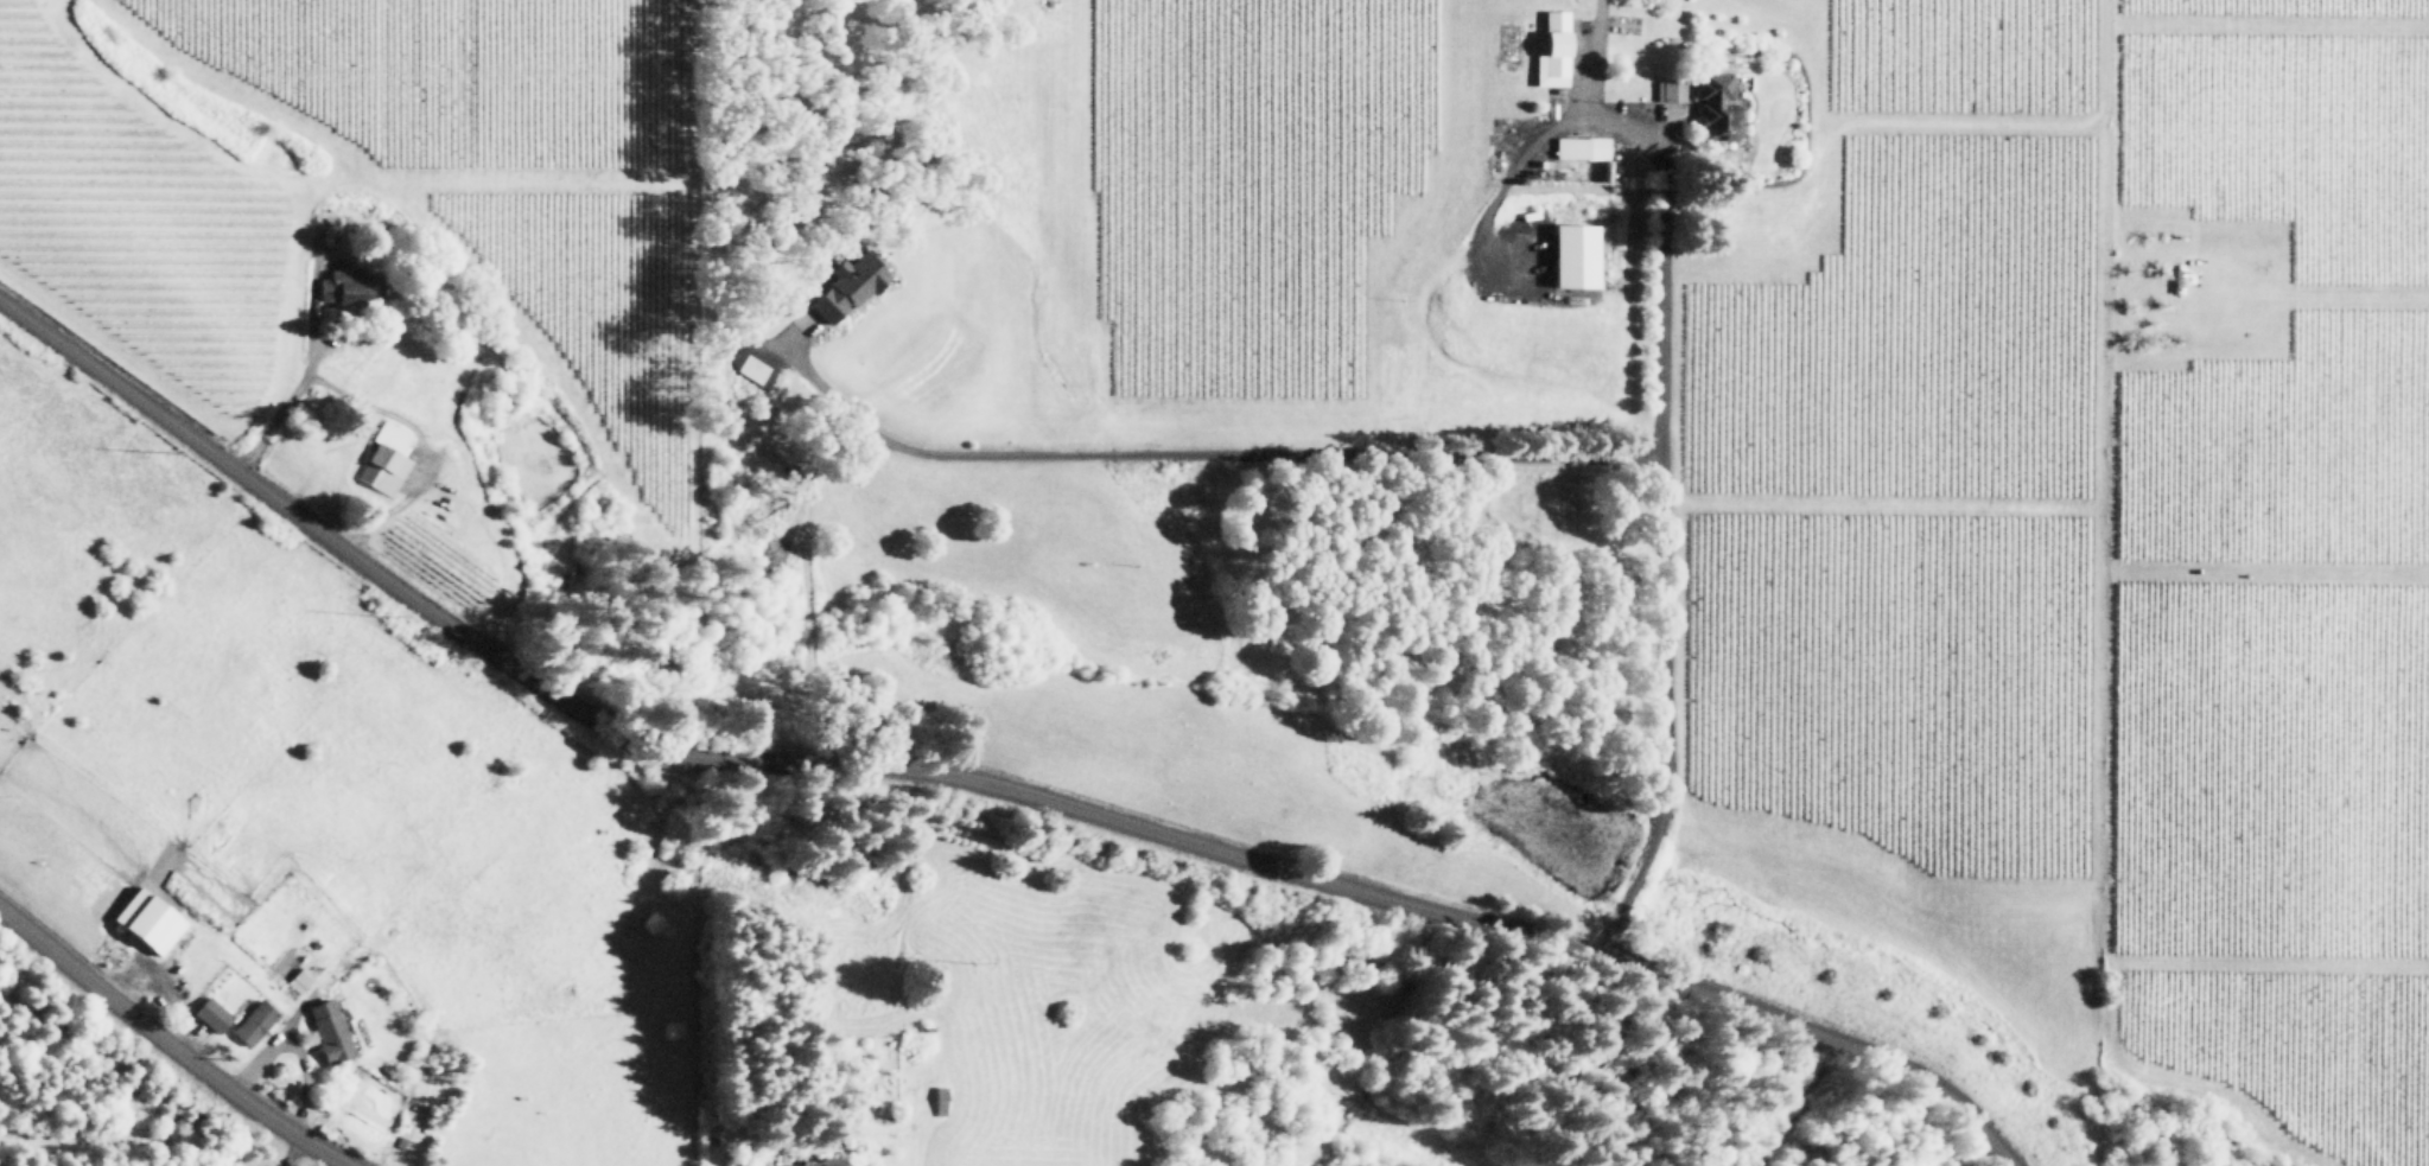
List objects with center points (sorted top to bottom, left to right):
building: (1554, 49)
building: (1671, 89)
building: (1716, 104)
building: (1583, 146)
road: (1499, 179)
road: (1660, 212)
building: (1576, 254)
building: (848, 283)
building: (352, 285)
road: (285, 397)
road: (1441, 452)
building: (387, 457)
road: (978, 780)
building: (147, 918)
building: (300, 979)
building: (212, 1012)
building: (255, 1020)
building: (330, 1030)
road: (170, 1045)
road: (291, 1152)
building: (815, 1162)

